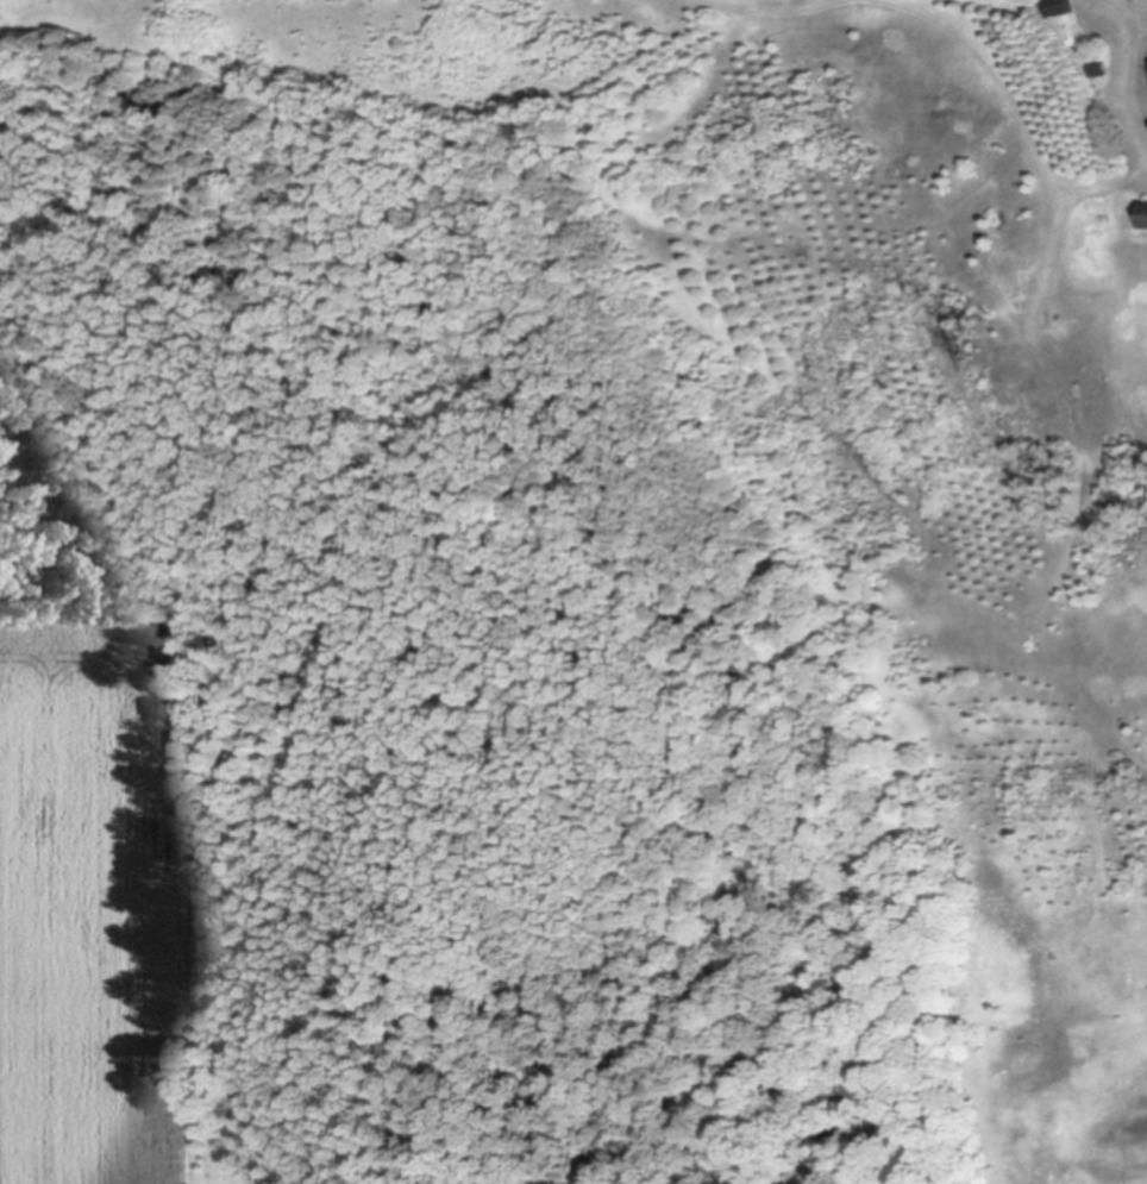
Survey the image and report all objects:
building: (1063, 8)
road: (1142, 81)
building: (1146, 218)

